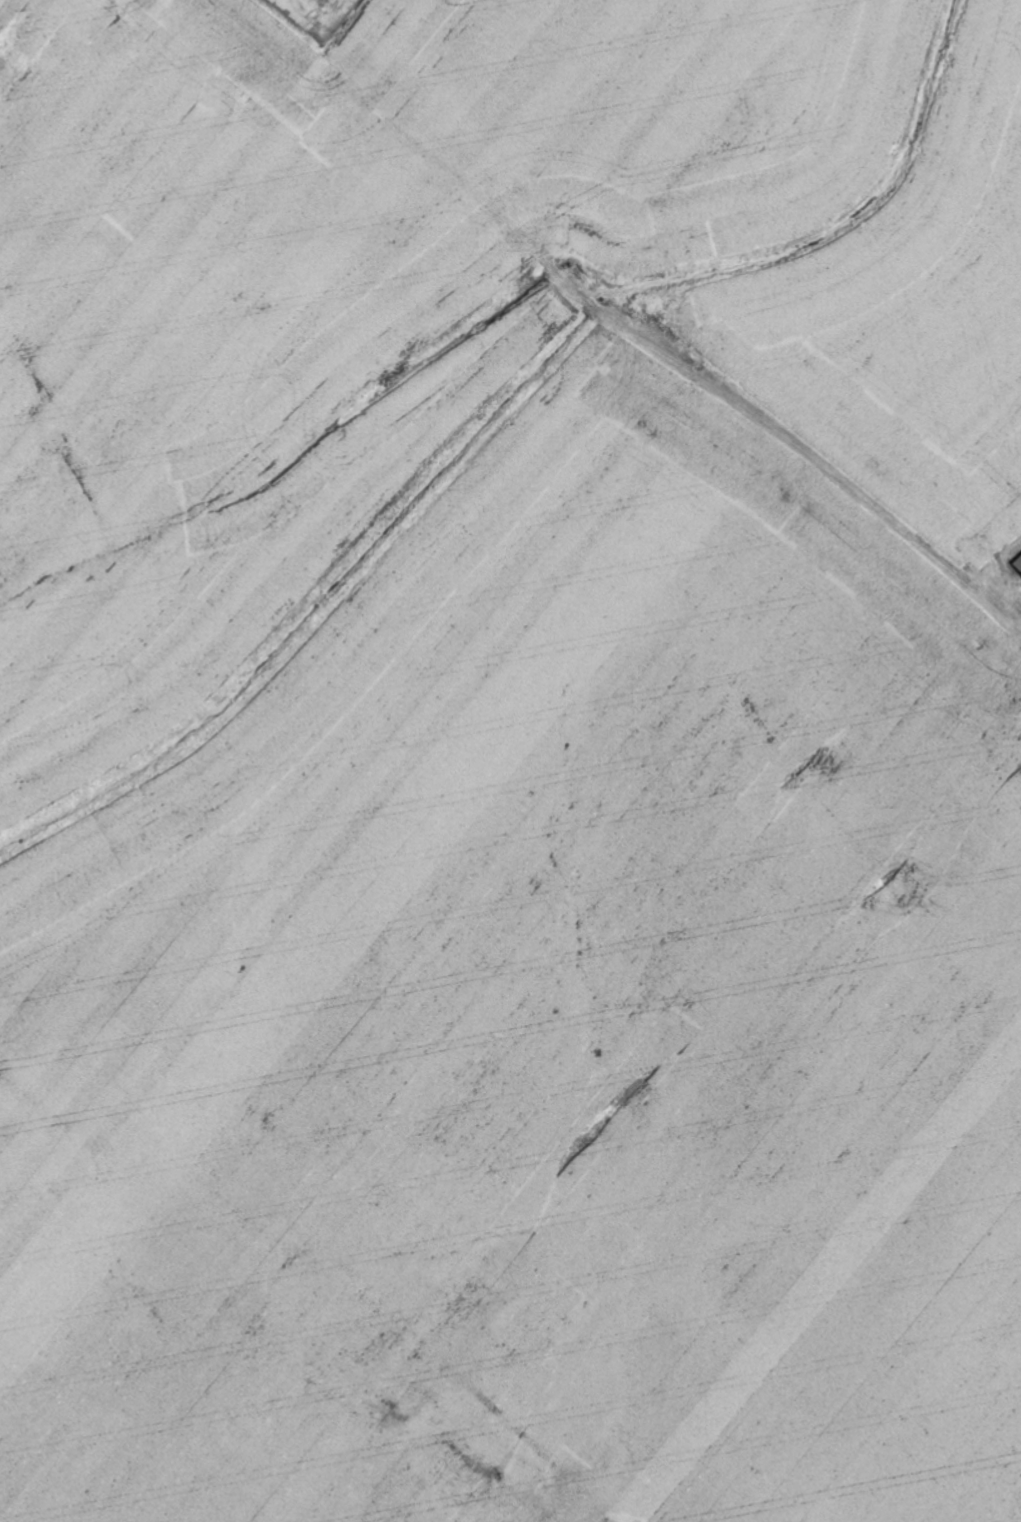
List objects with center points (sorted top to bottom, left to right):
building: (1017, 566)

